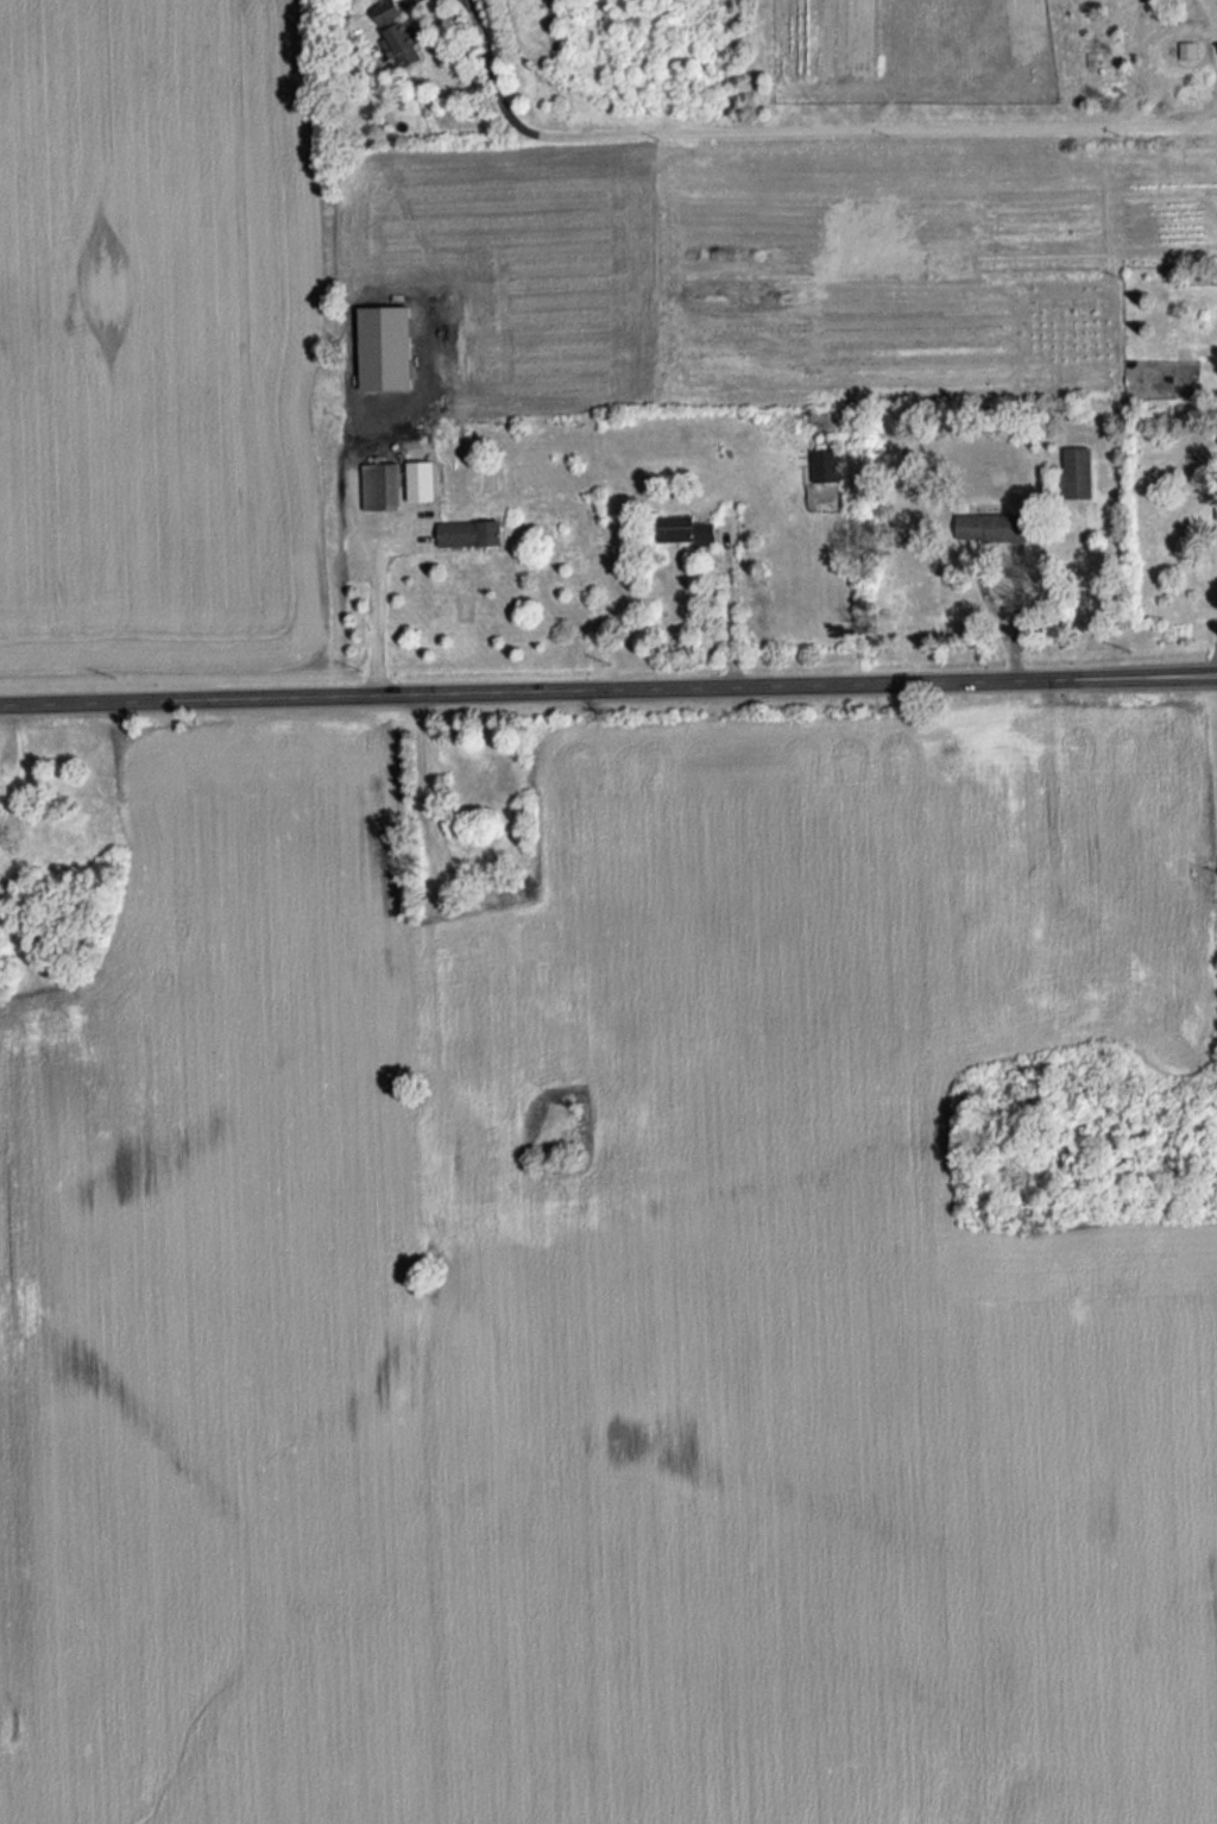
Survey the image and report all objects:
building: (398, 31)
building: (1188, 48)
road: (796, 127)
crop: (776, 260)
crop: (164, 332)
building: (385, 344)
building: (826, 464)
building: (1077, 471)
building: (421, 479)
building: (380, 484)
building: (991, 524)
building: (683, 528)
building: (468, 534)
road: (730, 604)
road: (378, 617)
road: (1016, 618)
road: (607, 691)

